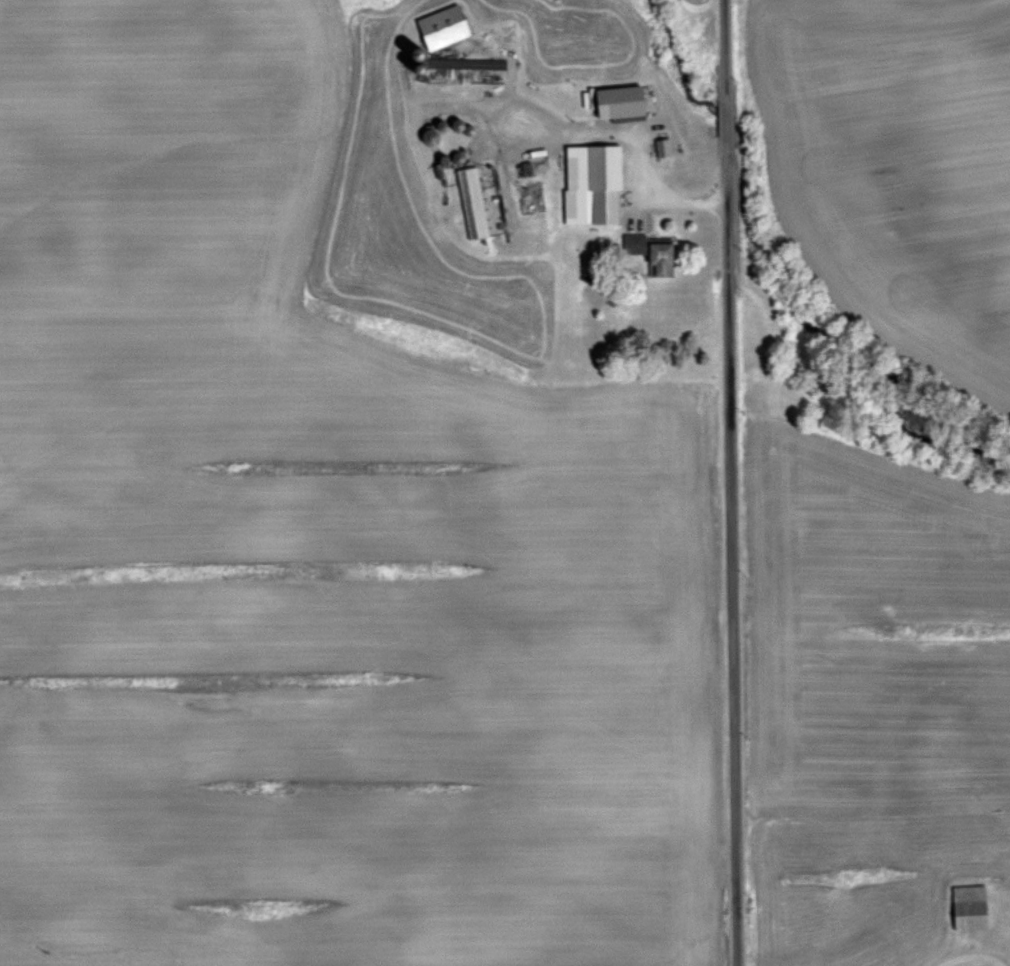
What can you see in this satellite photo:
building: (446, 27)
road: (719, 53)
building: (626, 103)
road: (720, 126)
building: (690, 142)
road: (508, 146)
building: (595, 184)
road: (628, 191)
building: (475, 204)
building: (664, 261)
road: (733, 556)
building: (973, 908)
road: (967, 947)

